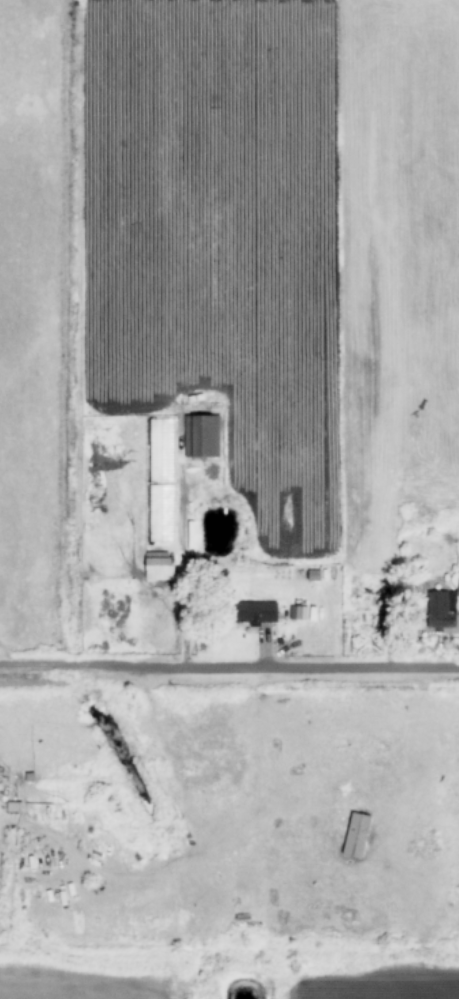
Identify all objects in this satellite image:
building: (200, 436)
building: (157, 565)
building: (457, 583)
building: (253, 612)
building: (441, 612)
road: (229, 668)
building: (355, 835)

